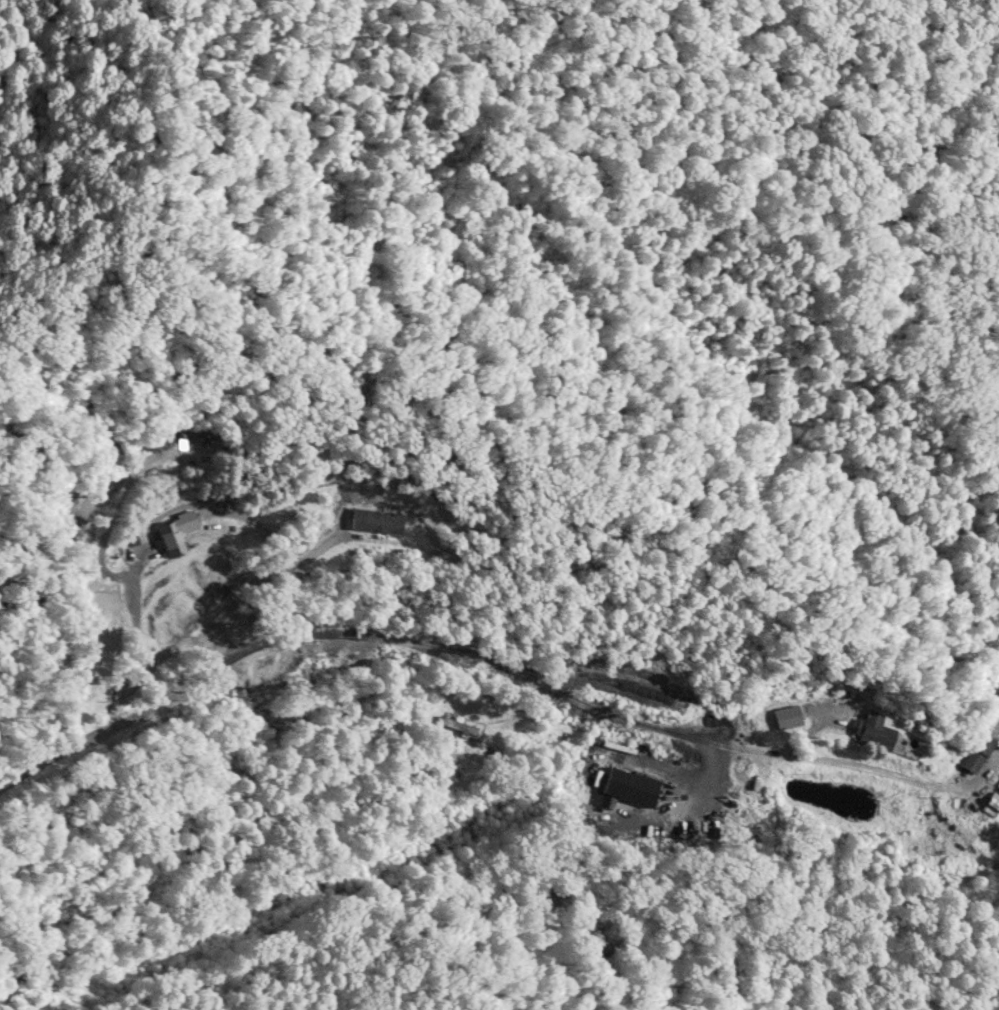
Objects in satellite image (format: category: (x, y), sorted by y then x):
building: (377, 522)
building: (71, 525)
building: (174, 534)
building: (457, 726)
building: (875, 729)
building: (976, 754)
building: (627, 786)

